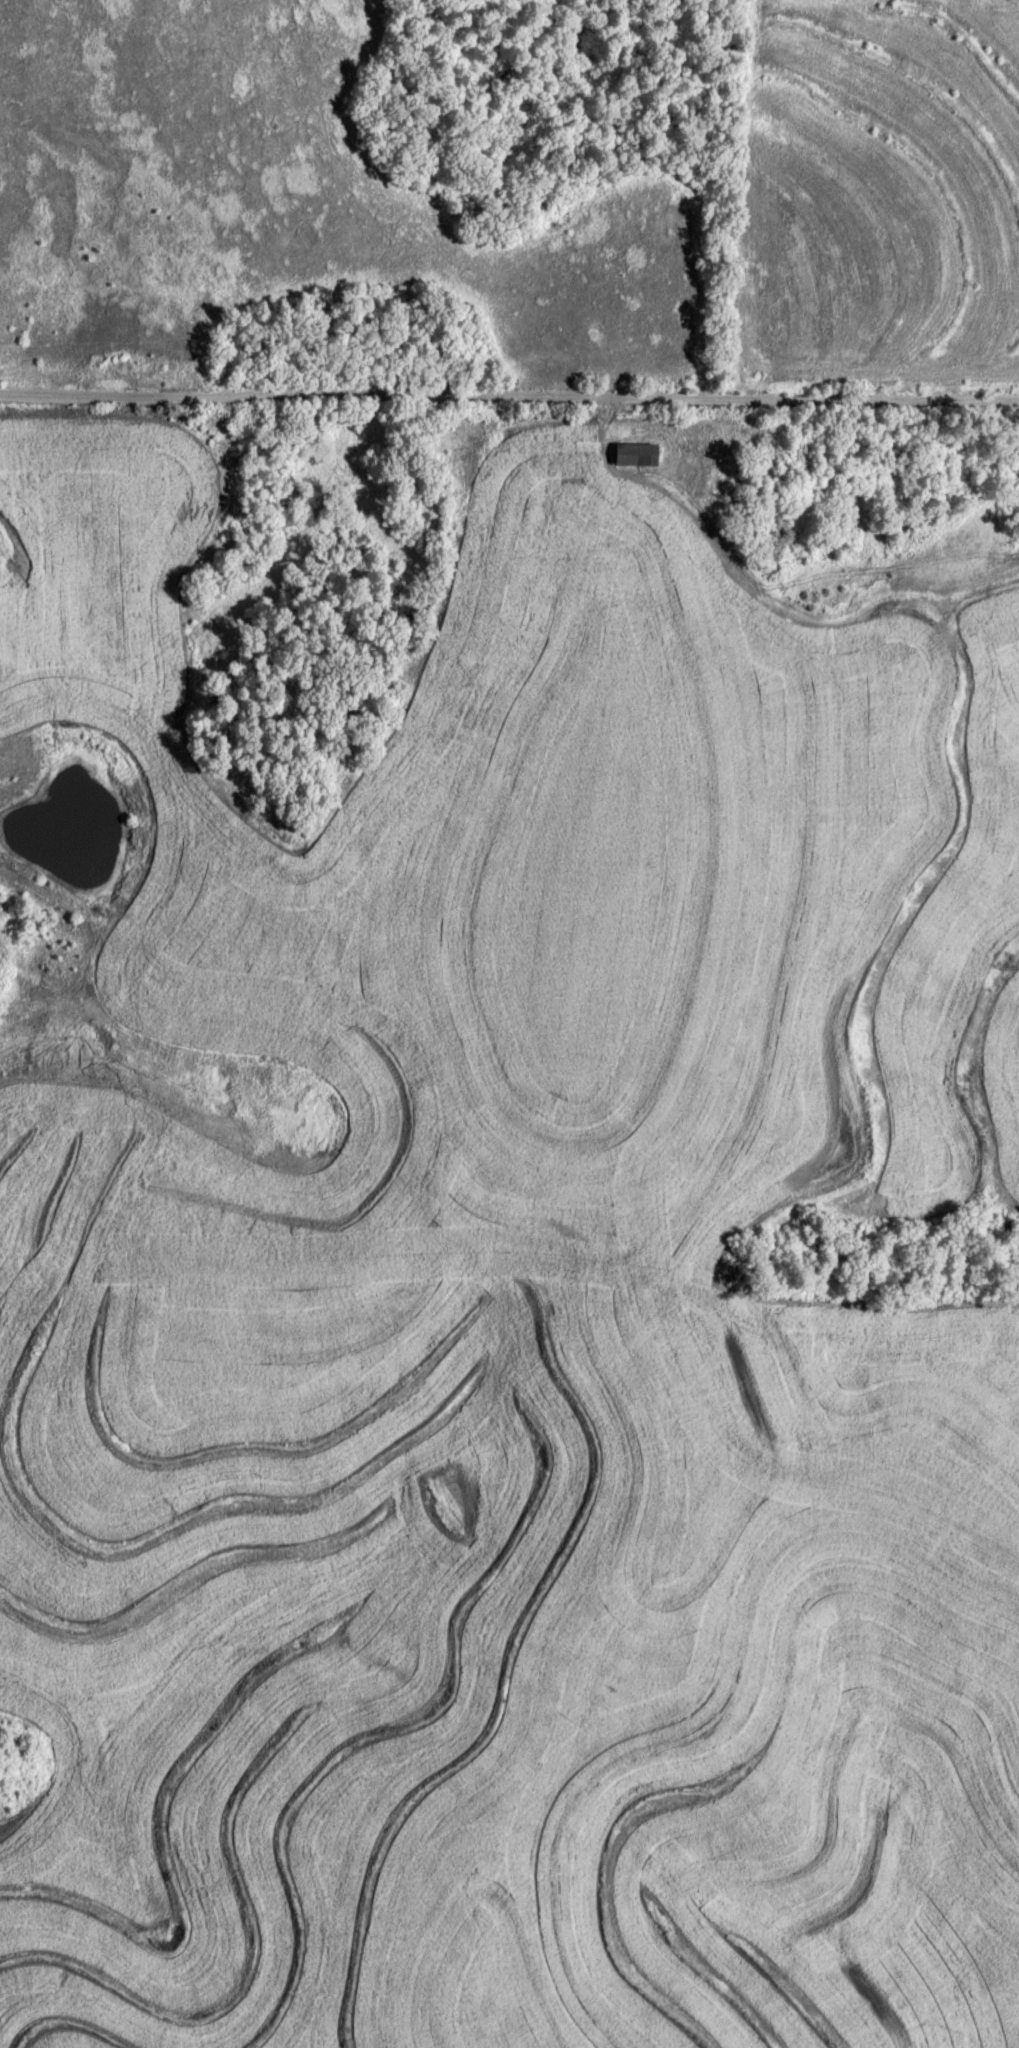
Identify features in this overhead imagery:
road: (509, 390)
building: (630, 451)

